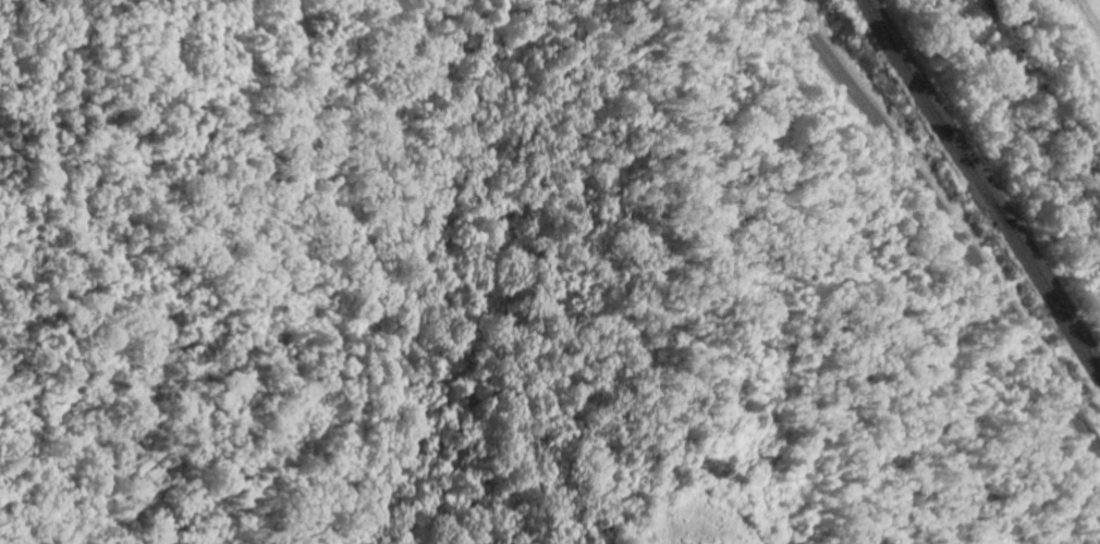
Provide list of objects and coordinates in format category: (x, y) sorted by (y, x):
road: (1089, 15)
railway: (979, 188)
road: (945, 226)

